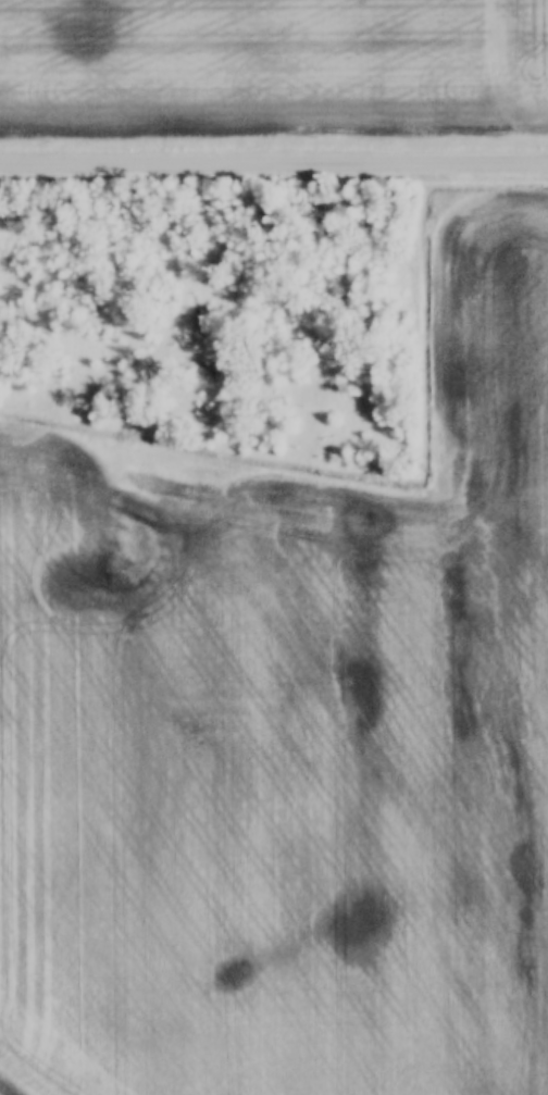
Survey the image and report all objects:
road: (274, 153)

